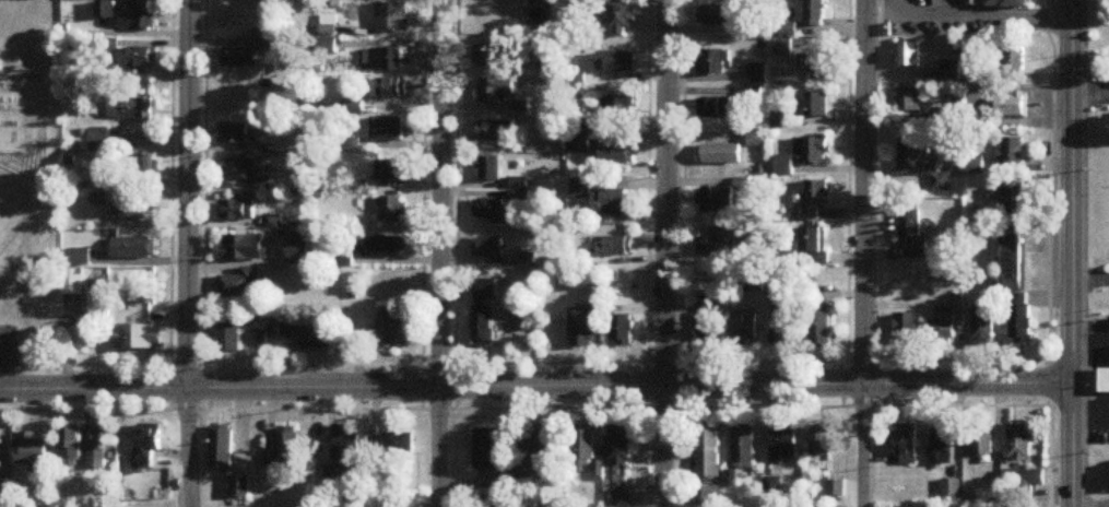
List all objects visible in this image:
building: (1010, 3)
building: (814, 13)
road: (976, 14)
building: (713, 15)
building: (392, 17)
building: (140, 19)
building: (622, 21)
building: (268, 39)
building: (909, 54)
building: (498, 56)
building: (144, 58)
building: (1014, 59)
building: (235, 60)
building: (386, 60)
building: (616, 62)
building: (712, 62)
building: (814, 64)
building: (951, 70)
building: (757, 73)
building: (389, 89)
building: (497, 91)
road: (1090, 95)
building: (909, 98)
building: (815, 105)
building: (1011, 105)
building: (622, 108)
building: (717, 108)
building: (131, 109)
building: (935, 117)
building: (387, 130)
building: (495, 131)
building: (234, 134)
building: (96, 140)
road: (1049, 150)
building: (812, 151)
building: (1013, 151)
building: (617, 154)
building: (720, 154)
building: (913, 157)
building: (144, 165)
building: (239, 168)
building: (783, 168)
building: (489, 169)
building: (393, 172)
park: (27, 182)
building: (580, 189)
building: (1016, 192)
building: (101, 200)
road: (644, 200)
road: (679, 200)
building: (716, 200)
building: (814, 200)
road: (845, 200)
road: (876, 200)
road: (169, 201)
road: (201, 201)
road: (421, 201)
road: (452, 201)
building: (614, 203)
building: (394, 210)
park: (13, 211)
building: (132, 211)
building: (239, 211)
building: (492, 212)
building: (912, 234)
building: (716, 246)
building: (814, 246)
building: (387, 247)
building: (491, 247)
building: (617, 247)
building: (139, 249)
building: (239, 249)
road: (184, 253)
road: (440, 253)
road: (662, 253)
road: (861, 253)
road: (1072, 253)
building: (1015, 258)
road: (1090, 278)
building: (241, 284)
building: (1020, 318)
building: (786, 320)
building: (983, 326)
building: (821, 327)
building: (583, 329)
building: (709, 329)
building: (745, 329)
building: (907, 329)
building: (944, 329)
building: (485, 331)
building: (623, 331)
building: (391, 332)
building: (311, 335)
building: (231, 337)
building: (140, 338)
building: (84, 341)
road: (1090, 341)
parking lot: (10, 346)
road: (529, 356)
road: (8, 359)
road: (535, 378)
building: (1105, 380)
road: (524, 401)
road: (1050, 402)
road: (1090, 414)
building: (983, 440)
building: (150, 441)
building: (1022, 441)
building: (73, 443)
building: (784, 443)
building: (822, 443)
building: (908, 444)
building: (943, 444)
building: (392, 445)
building: (585, 446)
building: (621, 446)
building: (222, 447)
building: (349, 447)
building: (540, 447)
building: (744, 448)
building: (488, 449)
building: (34, 450)
building: (286, 451)
building: (709, 451)
building: (97, 457)
building: (0, 475)
building: (1029, 477)
building: (732, 480)
building: (240, 486)
building: (774, 486)
building: (836, 487)
building: (712, 497)
building: (623, 499)
road: (7, 500)
building: (499, 504)

